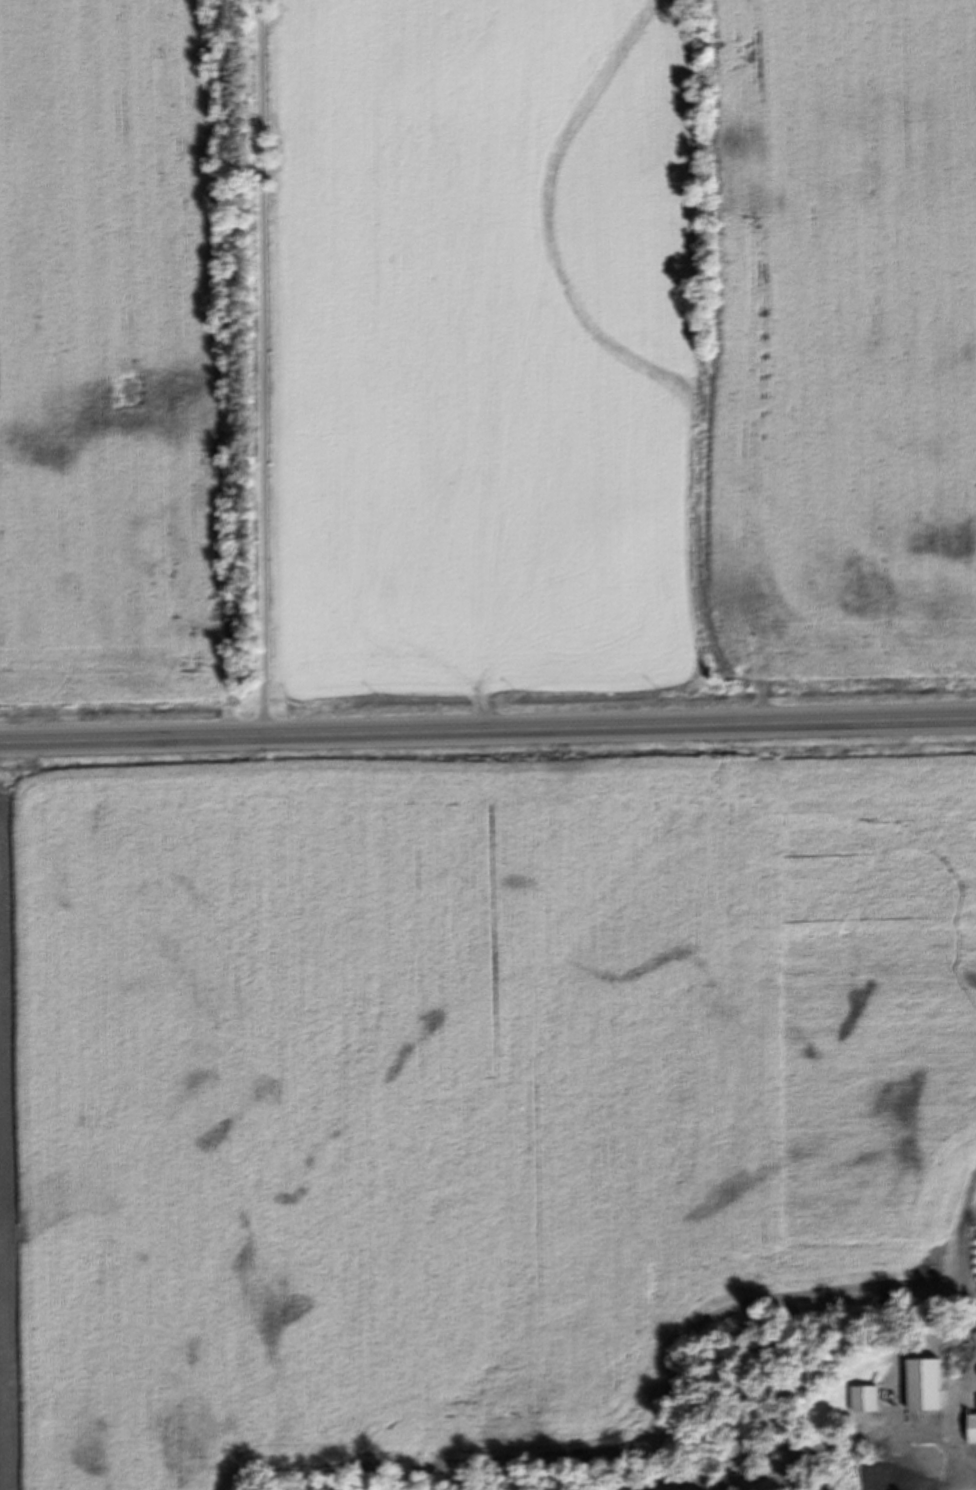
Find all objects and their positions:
road: (260, 363)
road: (487, 721)
building: (924, 1387)
building: (863, 1401)
building: (971, 1430)

